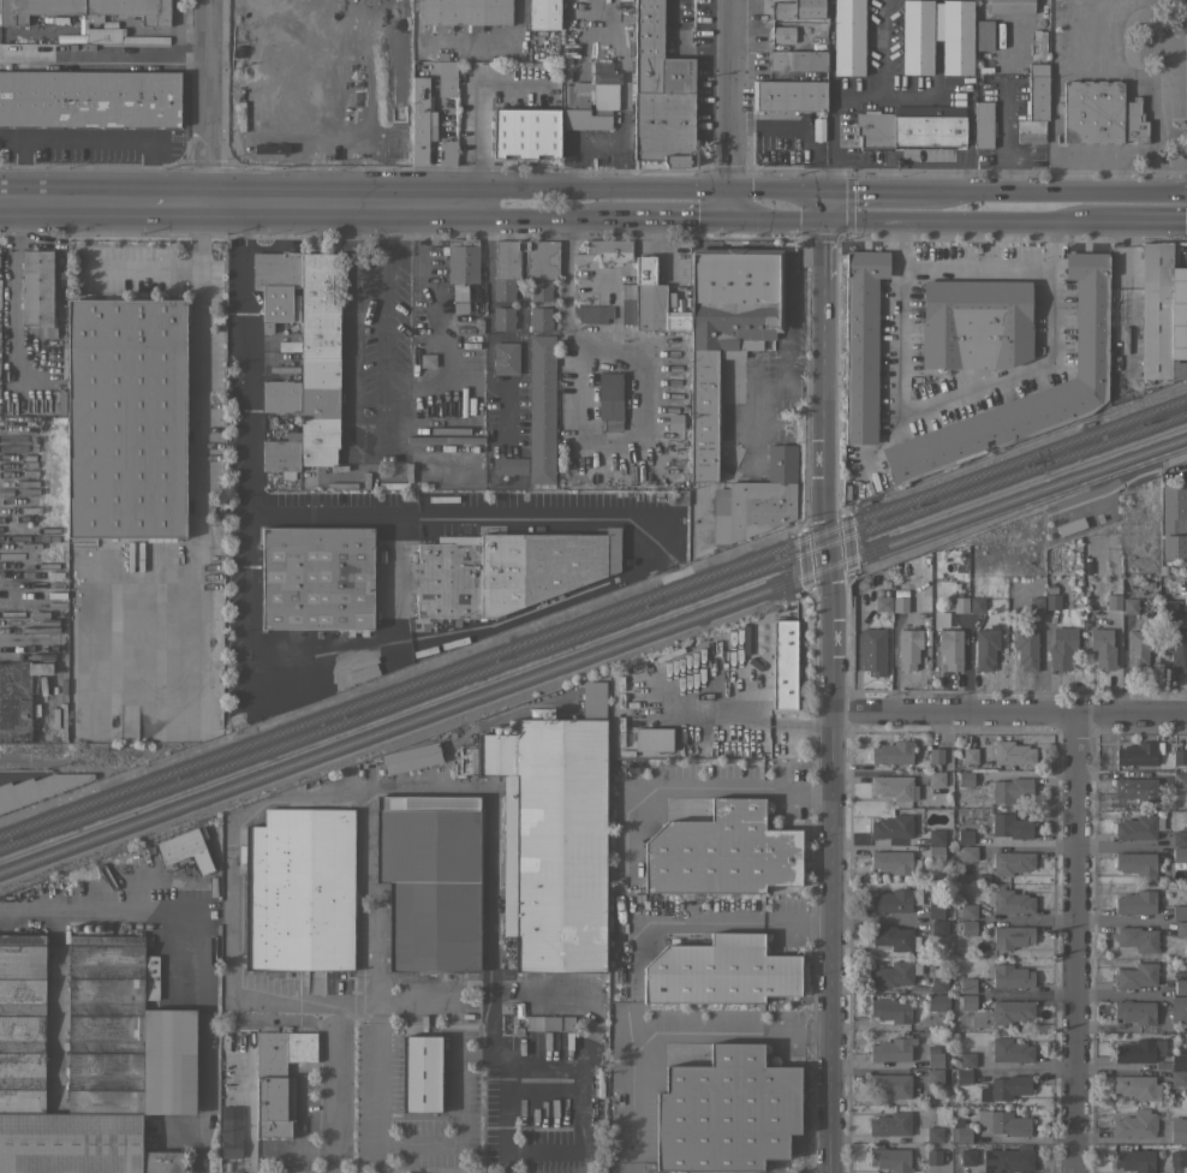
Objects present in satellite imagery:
building: (1012, 6)
building: (798, 8)
building: (87, 10)
building: (466, 12)
building: (544, 13)
road: (1092, 26)
building: (787, 32)
building: (95, 35)
building: (984, 35)
building: (848, 36)
building: (917, 36)
building: (958, 36)
building: (1039, 43)
road: (882, 47)
road: (103, 60)
building: (798, 60)
building: (606, 72)
road: (1146, 72)
building: (447, 78)
building: (660, 93)
road: (732, 95)
building: (791, 95)
building: (89, 99)
road: (207, 101)
road: (833, 101)
building: (1034, 105)
building: (262, 108)
building: (581, 109)
building: (1099, 113)
building: (422, 119)
building: (984, 123)
building: (912, 126)
building: (526, 132)
road: (85, 139)
building: (447, 150)
road: (1080, 159)
road: (1068, 174)
road: (1113, 175)
road: (538, 189)
road: (663, 189)
road: (780, 189)
traffic signals: (829, 189)
traffic signals: (730, 190)
road: (948, 190)
road: (1127, 191)
road: (64, 202)
road: (167, 202)
road: (346, 203)
road: (732, 203)
road: (670, 215)
road: (547, 216)
traffic signals: (733, 216)
road: (777, 218)
road: (1120, 219)
traffic signals: (822, 220)
road: (859, 220)
road: (974, 220)
building: (610, 249)
building: (526, 258)
building: (463, 261)
road: (138, 267)
road: (974, 267)
building: (276, 285)
building: (503, 288)
building: (541, 288)
building: (37, 291)
building: (459, 292)
building: (648, 296)
building: (627, 303)
building: (459, 308)
road: (350, 310)
building: (592, 312)
building: (1162, 314)
building: (503, 317)
building: (539, 318)
building: (678, 320)
road: (435, 323)
building: (974, 323)
road: (383, 327)
building: (1090, 328)
building: (726, 331)
road: (485, 333)
building: (861, 344)
building: (287, 346)
building: (506, 357)
building: (318, 358)
building: (428, 359)
road: (196, 371)
building: (280, 395)
road: (954, 397)
building: (609, 400)
building: (541, 409)
building: (126, 418)
road: (244, 452)
building: (282, 454)
building: (509, 465)
building: (760, 498)
road: (454, 516)
building: (1174, 520)
building: (1069, 526)
building: (1086, 567)
building: (507, 570)
building: (316, 577)
building: (883, 601)
building: (1052, 601)
building: (1114, 601)
building: (961, 603)
building: (977, 603)
building: (900, 605)
building: (1036, 605)
building: (1129, 605)
building: (1168, 605)
railway: (592, 618)
railway: (592, 633)
building: (1062, 647)
building: (908, 648)
building: (950, 648)
building: (985, 648)
building: (1103, 648)
building: (1026, 649)
building: (1177, 649)
railway: (592, 650)
building: (873, 650)
building: (1138, 651)
building: (785, 667)
road: (833, 695)
building: (18, 698)
road: (1009, 713)
building: (62, 720)
road: (764, 724)
building: (654, 739)
building: (1013, 752)
building: (897, 754)
building: (1138, 754)
building: (936, 755)
building: (970, 755)
building: (411, 756)
building: (1180, 756)
building: (965, 779)
building: (1180, 780)
building: (37, 787)
building: (907, 787)
building: (1012, 788)
building: (1137, 788)
road: (369, 793)
building: (893, 826)
building: (1010, 826)
building: (1137, 828)
building: (553, 835)
building: (936, 835)
building: (965, 836)
building: (1180, 838)
road: (1121, 842)
building: (185, 849)
building: (722, 851)
building: (936, 852)
building: (968, 853)
building: (1180, 853)
building: (895, 862)
building: (1012, 862)
building: (1137, 863)
building: (430, 880)
road: (229, 882)
road: (632, 886)
building: (299, 889)
building: (895, 900)
building: (1010, 901)
building: (1137, 901)
building: (936, 911)
building: (968, 911)
building: (1179, 912)
road: (734, 919)
building: (940, 927)
building: (968, 927)
building: (1181, 928)
building: (1012, 936)
building: (895, 937)
building: (1137, 937)
road: (202, 940)
road: (1072, 942)
building: (720, 971)
building: (893, 973)
building: (1137, 975)
building: (1009, 976)
building: (938, 984)
building: (968, 984)
building: (1181, 987)
building: (937, 1001)
building: (967, 1001)
road: (417, 1004)
road: (354, 1006)
building: (891, 1010)
building: (1179, 1010)
building: (1010, 1011)
building: (1134, 1011)
building: (549, 1023)
road: (726, 1030)
building: (893, 1048)
road: (483, 1049)
building: (1010, 1050)
building: (1140, 1050)
building: (935, 1054)
building: (91, 1059)
building: (967, 1059)
building: (1179, 1060)
road: (580, 1061)
building: (420, 1073)
building: (935, 1074)
building: (964, 1076)
building: (1177, 1077)
building: (279, 1079)
building: (890, 1084)
building: (1009, 1086)
building: (1137, 1086)
road: (330, 1090)
building: (726, 1112)
road: (459, 1123)
building: (1008, 1123)
building: (890, 1124)
building: (1135, 1124)
building: (1179, 1130)
building: (231, 1131)
building: (935, 1133)
building: (964, 1133)
building: (934, 1156)
building: (967, 1156)
building: (1177, 1157)
building: (890, 1159)
building: (1009, 1159)
building: (1134, 1160)
road: (506, 1161)

